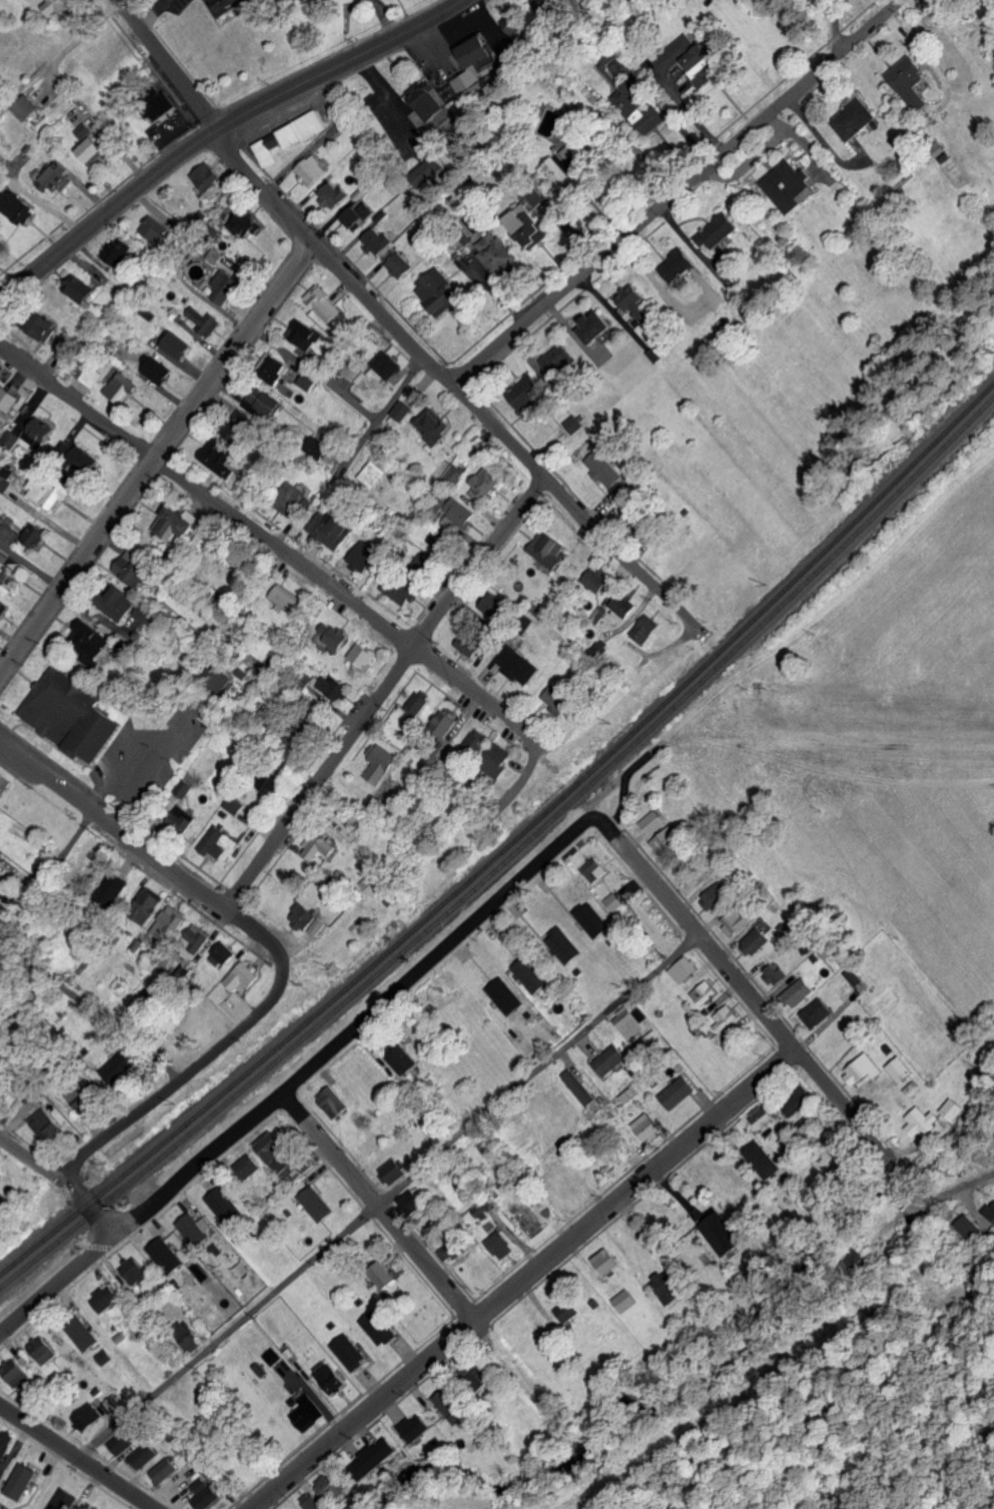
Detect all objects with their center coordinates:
building: (226, 5)
building: (58, 6)
road: (385, 19)
building: (516, 21)
building: (695, 59)
road: (168, 63)
building: (477, 68)
building: (911, 81)
road: (24, 87)
road: (60, 89)
road: (387, 99)
building: (158, 103)
building: (28, 107)
building: (638, 107)
building: (554, 117)
building: (856, 119)
road: (219, 127)
building: (303, 128)
building: (90, 144)
building: (266, 152)
building: (311, 169)
building: (430, 172)
building: (53, 175)
building: (206, 176)
building: (789, 185)
road: (677, 192)
building: (333, 195)
building: (17, 206)
building: (360, 215)
building: (245, 224)
building: (528, 226)
building: (158, 227)
building: (719, 231)
building: (377, 241)
building: (120, 251)
building: (498, 254)
building: (401, 265)
building: (678, 265)
building: (226, 285)
building: (78, 287)
building: (441, 291)
building: (634, 303)
building: (324, 304)
building: (204, 320)
building: (43, 326)
building: (598, 327)
building: (304, 334)
building: (176, 345)
building: (66, 347)
building: (559, 359)
building: (388, 365)
building: (158, 370)
building: (351, 370)
building: (275, 371)
road: (313, 373)
building: (307, 381)
road: (456, 384)
building: (122, 388)
building: (529, 394)
building: (10, 398)
building: (270, 403)
building: (402, 410)
road: (380, 416)
building: (576, 423)
building: (434, 425)
building: (37, 428)
building: (238, 430)
building: (317, 449)
building: (219, 458)
road: (157, 460)
building: (605, 467)
building: (374, 474)
building: (456, 475)
building: (486, 484)
building: (51, 488)
building: (290, 498)
building: (624, 499)
building: (458, 515)
building: (178, 522)
building: (329, 529)
building: (34, 532)
building: (208, 539)
road: (271, 544)
building: (549, 549)
building: (363, 556)
building: (3, 561)
road: (31, 569)
building: (134, 569)
building: (597, 581)
building: (7, 585)
building: (401, 591)
building: (287, 600)
building: (119, 605)
building: (498, 605)
building: (626, 606)
building: (3, 608)
building: (145, 615)
building: (647, 629)
building: (92, 637)
building: (338, 637)
building: (471, 642)
building: (363, 656)
building: (519, 664)
building: (219, 678)
building: (333, 687)
road: (381, 690)
building: (561, 702)
building: (72, 715)
building: (447, 721)
building: (476, 745)
building: (498, 762)
building: (380, 763)
building: (2, 779)
building: (273, 782)
building: (185, 788)
building: (236, 805)
building: (181, 821)
building: (655, 821)
road: (34, 838)
building: (668, 840)
railway: (510, 842)
building: (220, 844)
road: (143, 849)
building: (319, 849)
building: (0, 852)
railway: (510, 855)
building: (595, 870)
building: (375, 882)
building: (119, 887)
building: (715, 897)
building: (147, 904)
building: (593, 920)
building: (735, 920)
building: (308, 921)
building: (170, 923)
building: (754, 941)
building: (196, 942)
building: (565, 946)
building: (223, 954)
building: (683, 969)
building: (773, 974)
building: (531, 976)
building: (853, 977)
building: (244, 978)
building: (704, 993)
building: (797, 993)
building: (506, 997)
road: (749, 997)
road: (89, 1011)
building: (816, 1013)
building: (724, 1018)
building: (628, 1024)
building: (609, 1060)
building: (401, 1061)
building: (119, 1066)
building: (900, 1069)
building: (863, 1070)
road: (306, 1072)
road: (182, 1076)
building: (579, 1088)
building: (677, 1093)
building: (84, 1097)
building: (334, 1103)
building: (951, 1109)
building: (762, 1118)
building: (921, 1122)
building: (45, 1125)
building: (647, 1128)
building: (273, 1152)
building: (762, 1159)
building: (248, 1166)
building: (394, 1171)
road: (59, 1180)
road: (932, 1193)
road: (387, 1196)
building: (317, 1204)
building: (412, 1204)
building: (224, 1205)
road: (373, 1211)
building: (196, 1228)
building: (720, 1235)
building: (500, 1246)
building: (165, 1255)
building: (606, 1262)
building: (134, 1271)
building: (385, 1276)
road: (524, 1281)
building: (666, 1287)
building: (105, 1297)
building: (625, 1301)
building: (568, 1312)
building: (379, 1327)
building: (82, 1334)
building: (187, 1336)
building: (41, 1349)
building: (350, 1351)
building: (273, 1356)
building: (104, 1357)
building: (13, 1372)
building: (330, 1376)
building: (300, 1401)
road: (712, 1403)
building: (109, 1405)
building: (452, 1406)
building: (307, 1412)
building: (86, 1416)
building: (418, 1429)
building: (124, 1439)
building: (5, 1440)
building: (143, 1455)
building: (377, 1455)
road: (78, 1457)
road: (868, 1463)
building: (164, 1470)
building: (21, 1480)
building: (327, 1483)
building: (199, 1485)
building: (207, 1497)
building: (63, 1499)
building: (313, 1504)

